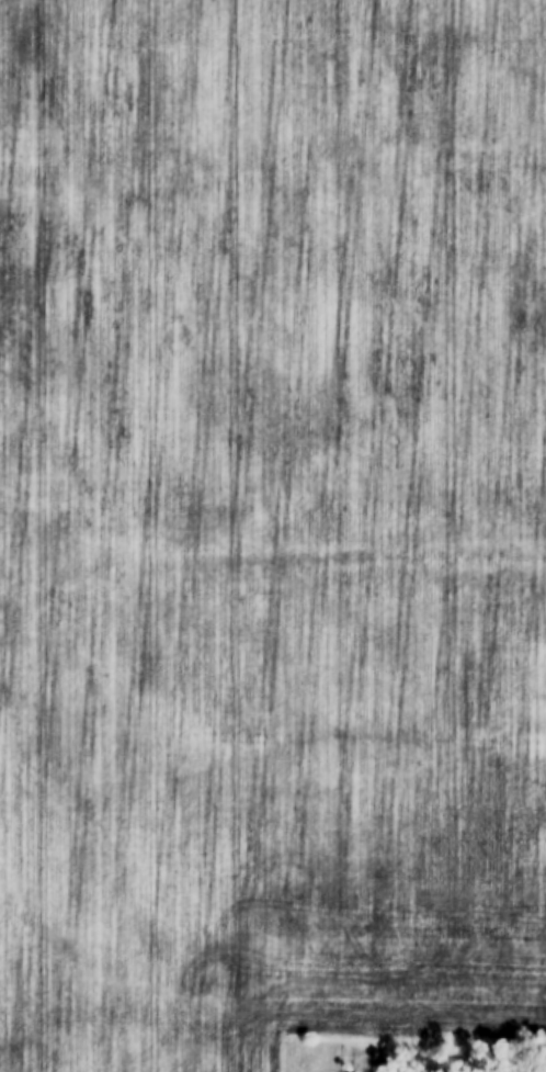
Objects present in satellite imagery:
crop: (272, 262)
crop: (270, 790)

